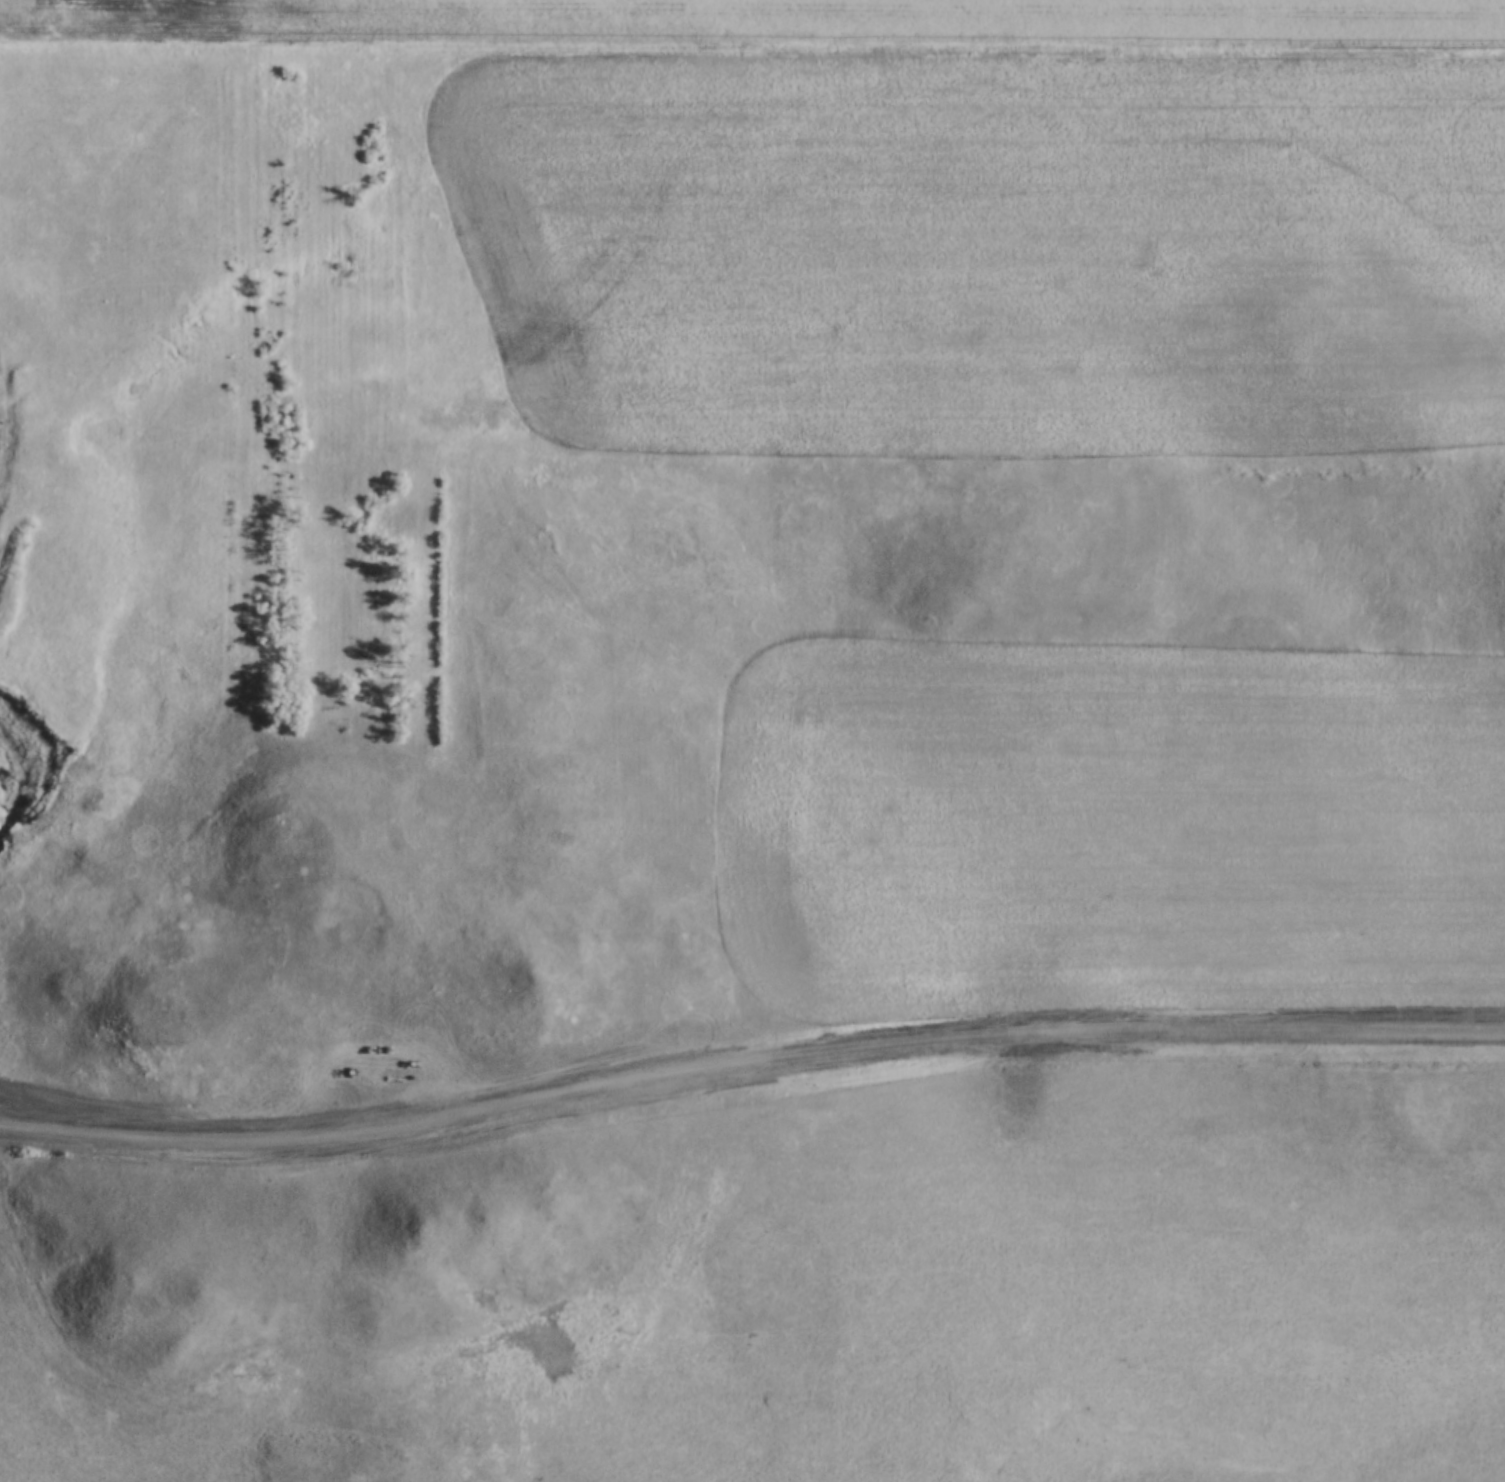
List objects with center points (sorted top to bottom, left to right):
road: (749, 1058)

